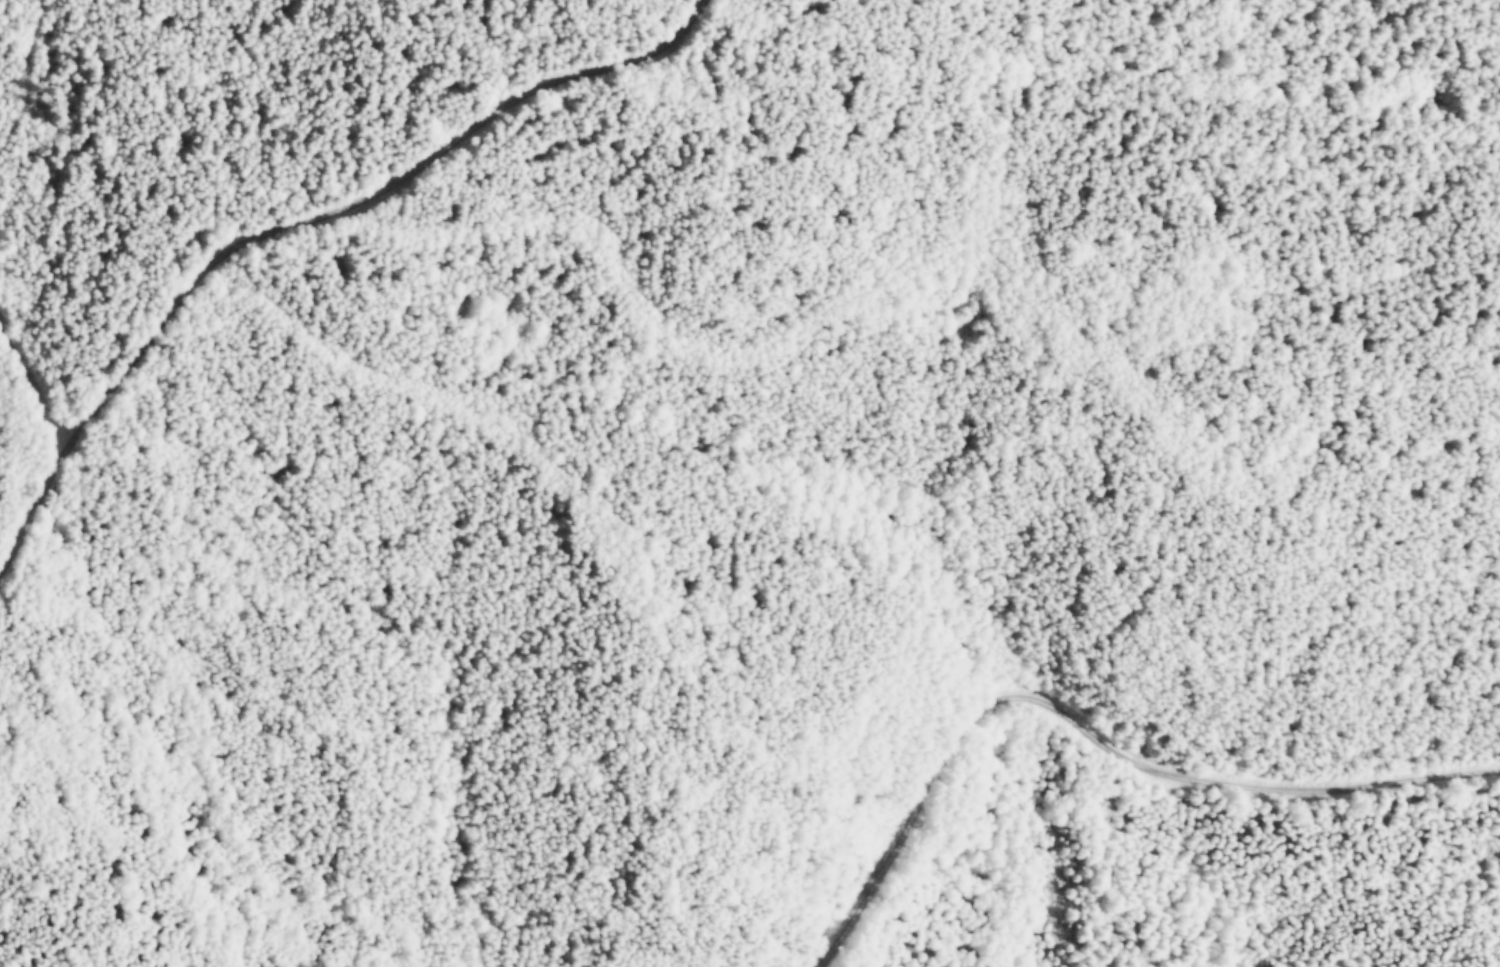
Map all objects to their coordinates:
road: (296, 224)
road: (1084, 729)

